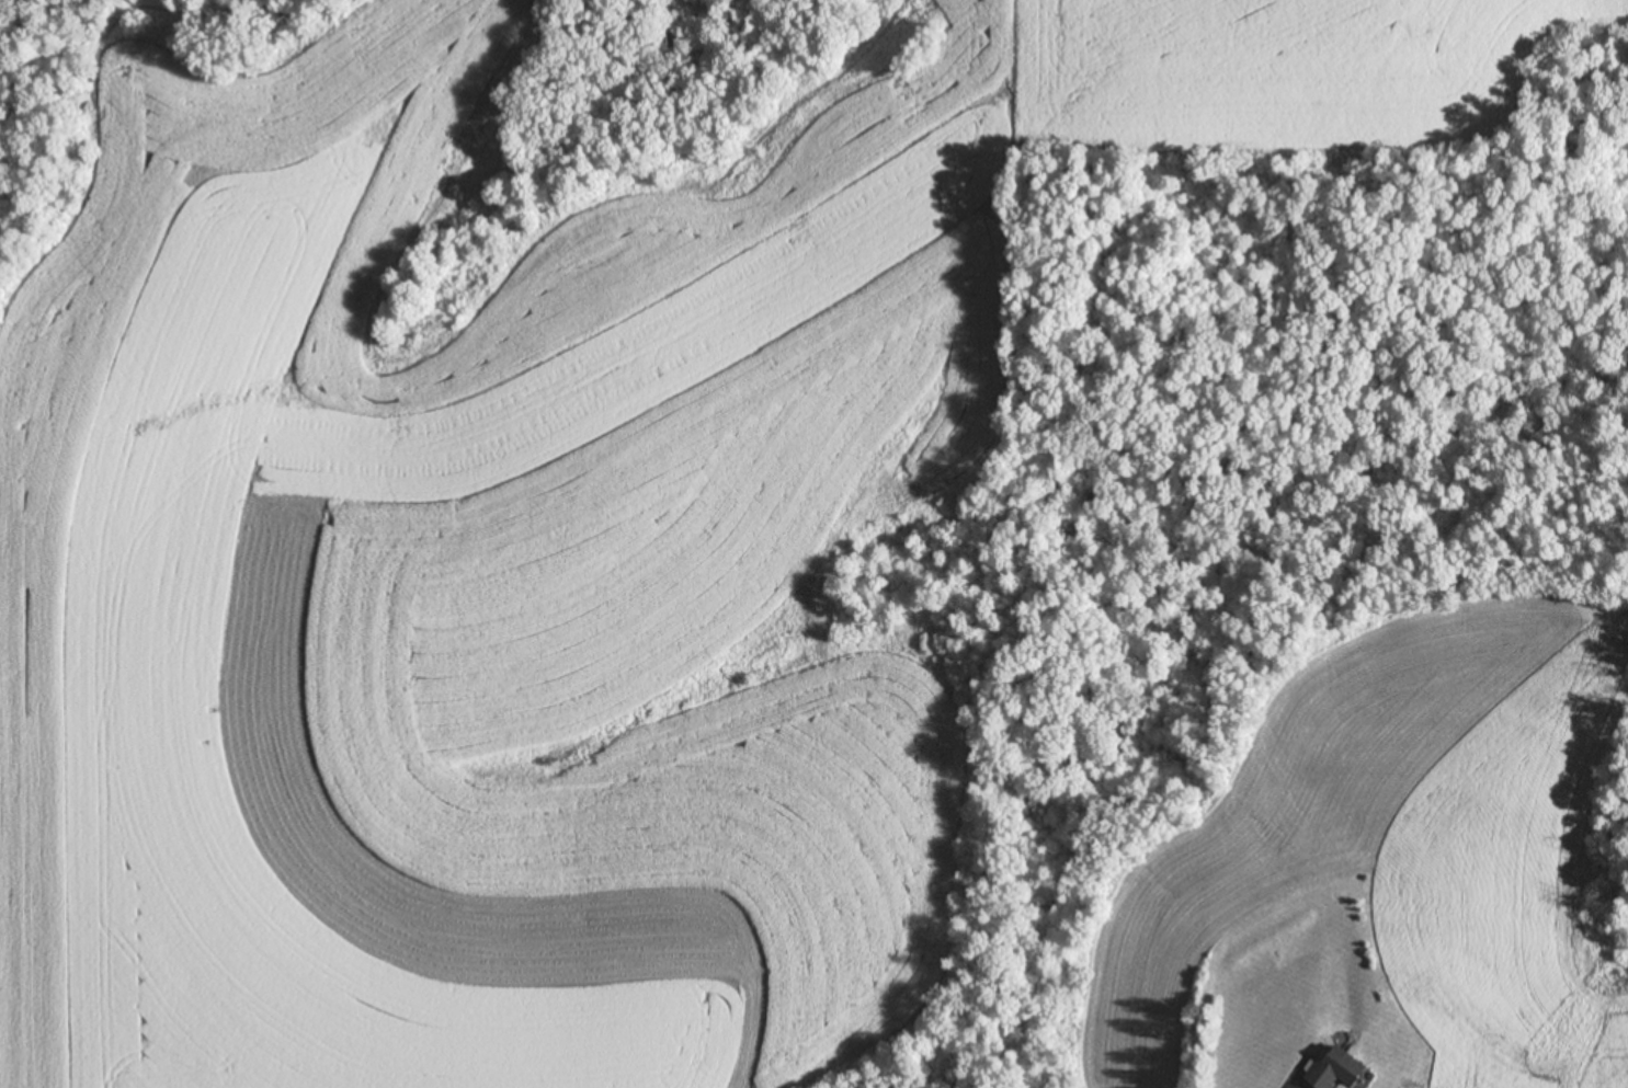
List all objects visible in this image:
building: (1339, 1068)

